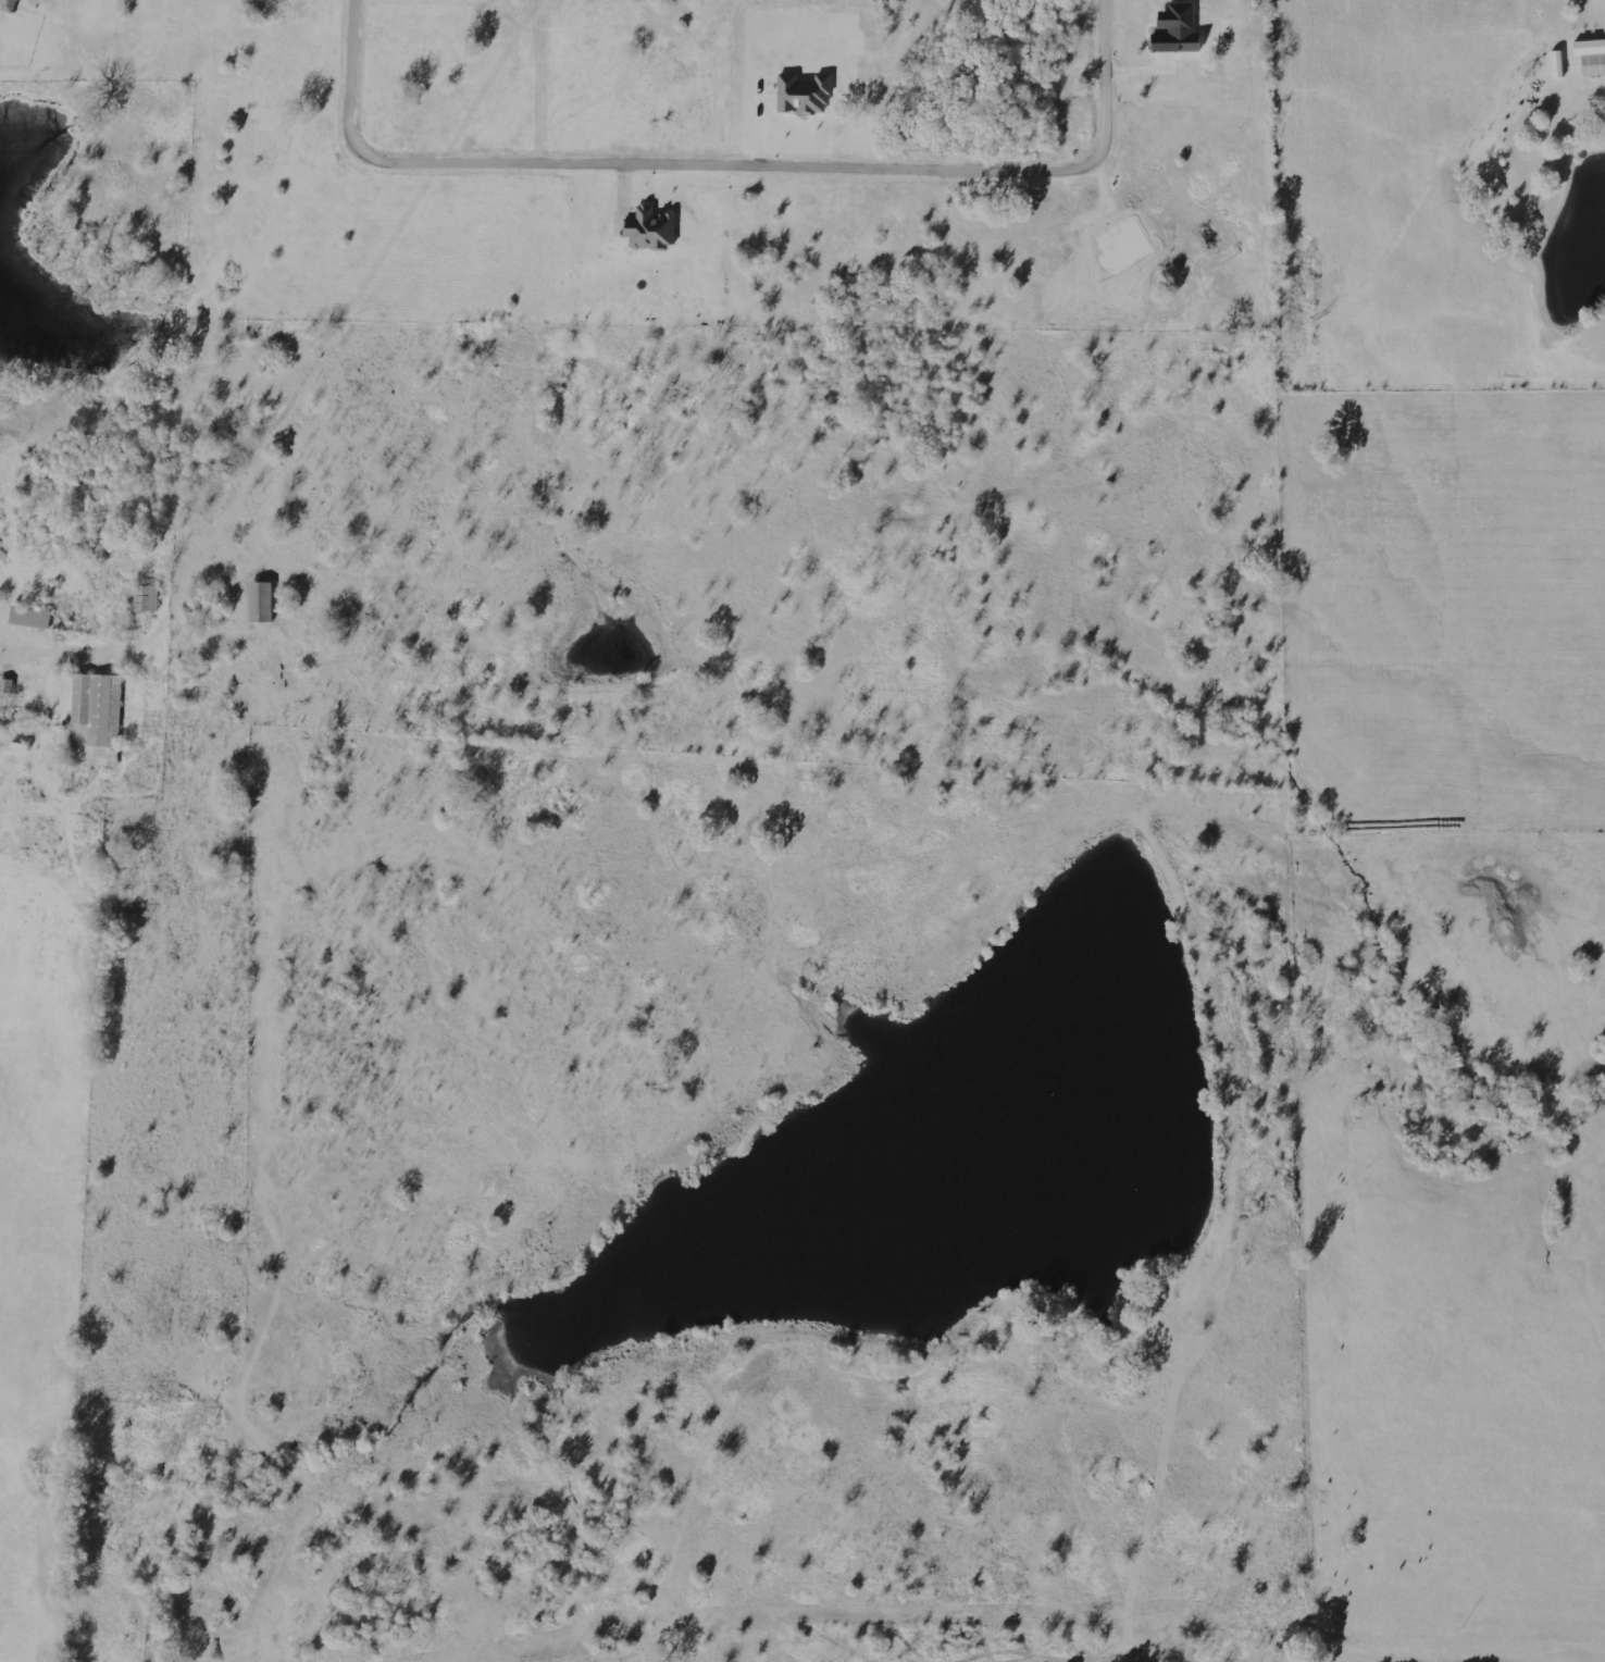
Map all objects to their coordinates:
building: (1591, 55)
road: (1407, 62)
building: (1558, 63)
building: (802, 94)
road: (727, 164)
building: (650, 228)
road: (191, 539)
road: (139, 558)
building: (144, 597)
building: (261, 600)
building: (30, 616)
dam: (949, 1154)
road: (1069, 1489)

